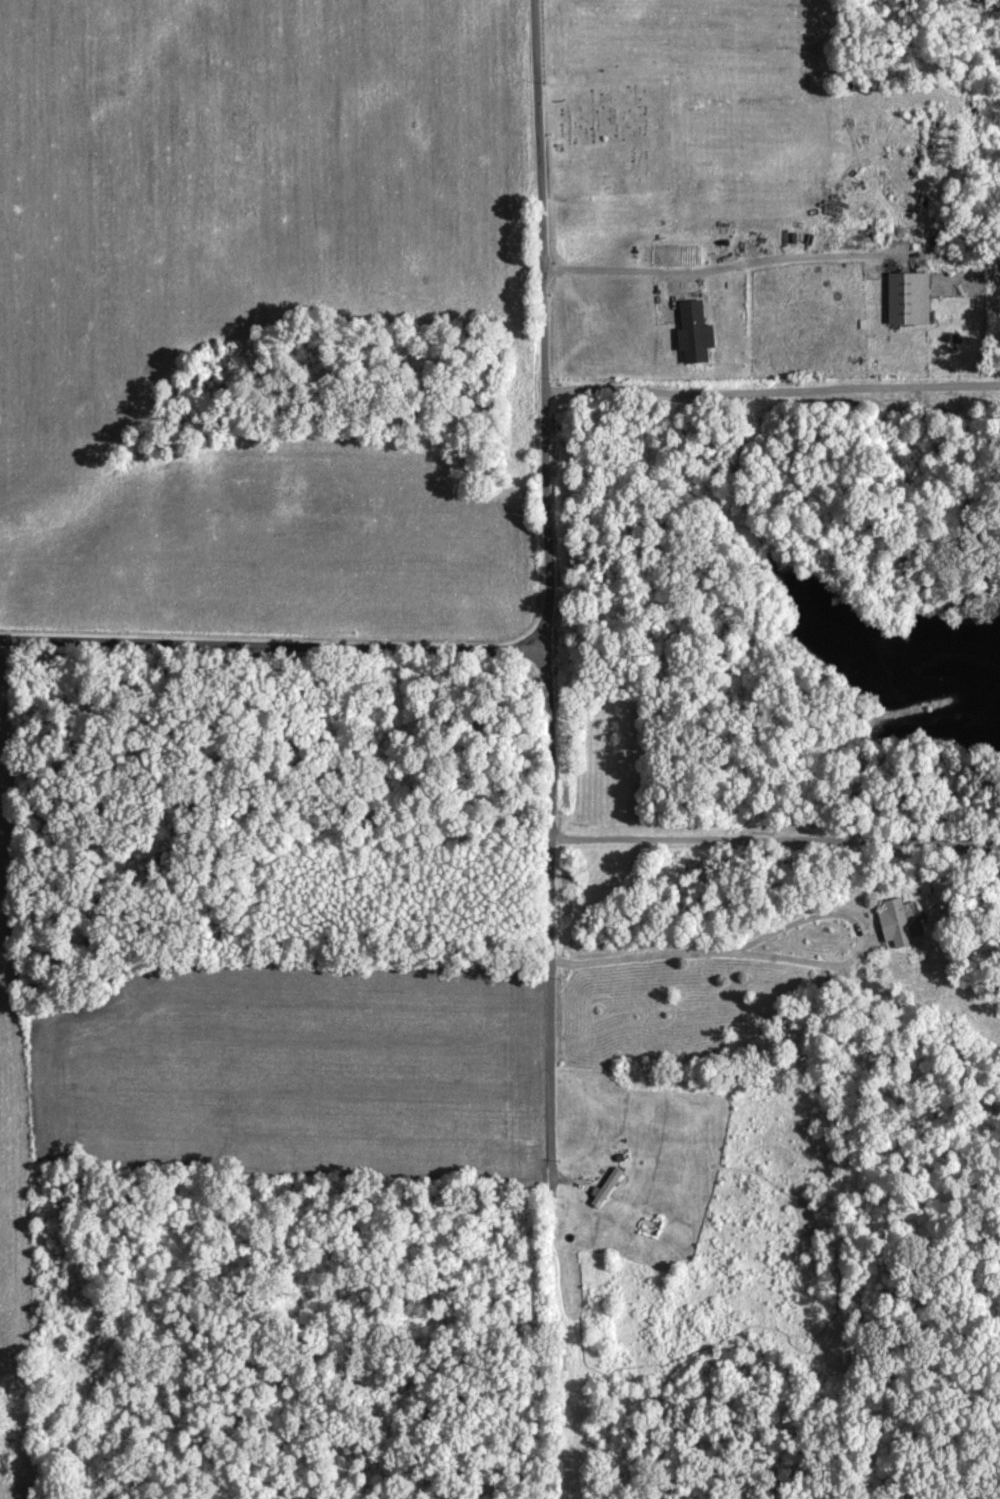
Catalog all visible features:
road: (718, 272)
building: (907, 303)
building: (693, 337)
road: (547, 585)
road: (201, 641)
road: (474, 648)
road: (774, 839)
building: (894, 927)
road: (671, 991)
building: (604, 1192)

